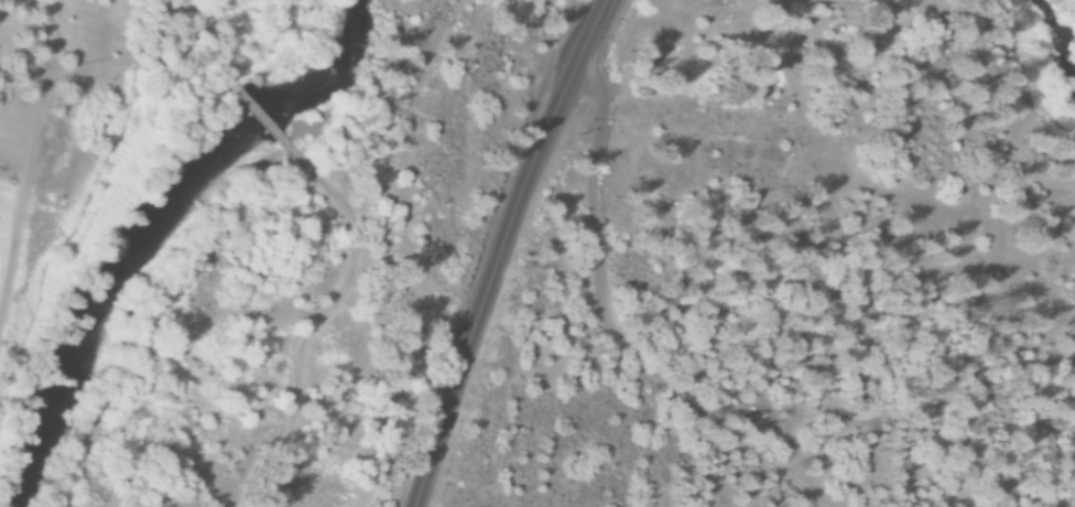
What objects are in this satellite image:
river: (1045, 58)
road: (122, 64)
road: (271, 127)
crop: (0, 142)
road: (28, 214)
river: (158, 231)
road: (502, 250)
road: (383, 260)
road: (611, 327)

